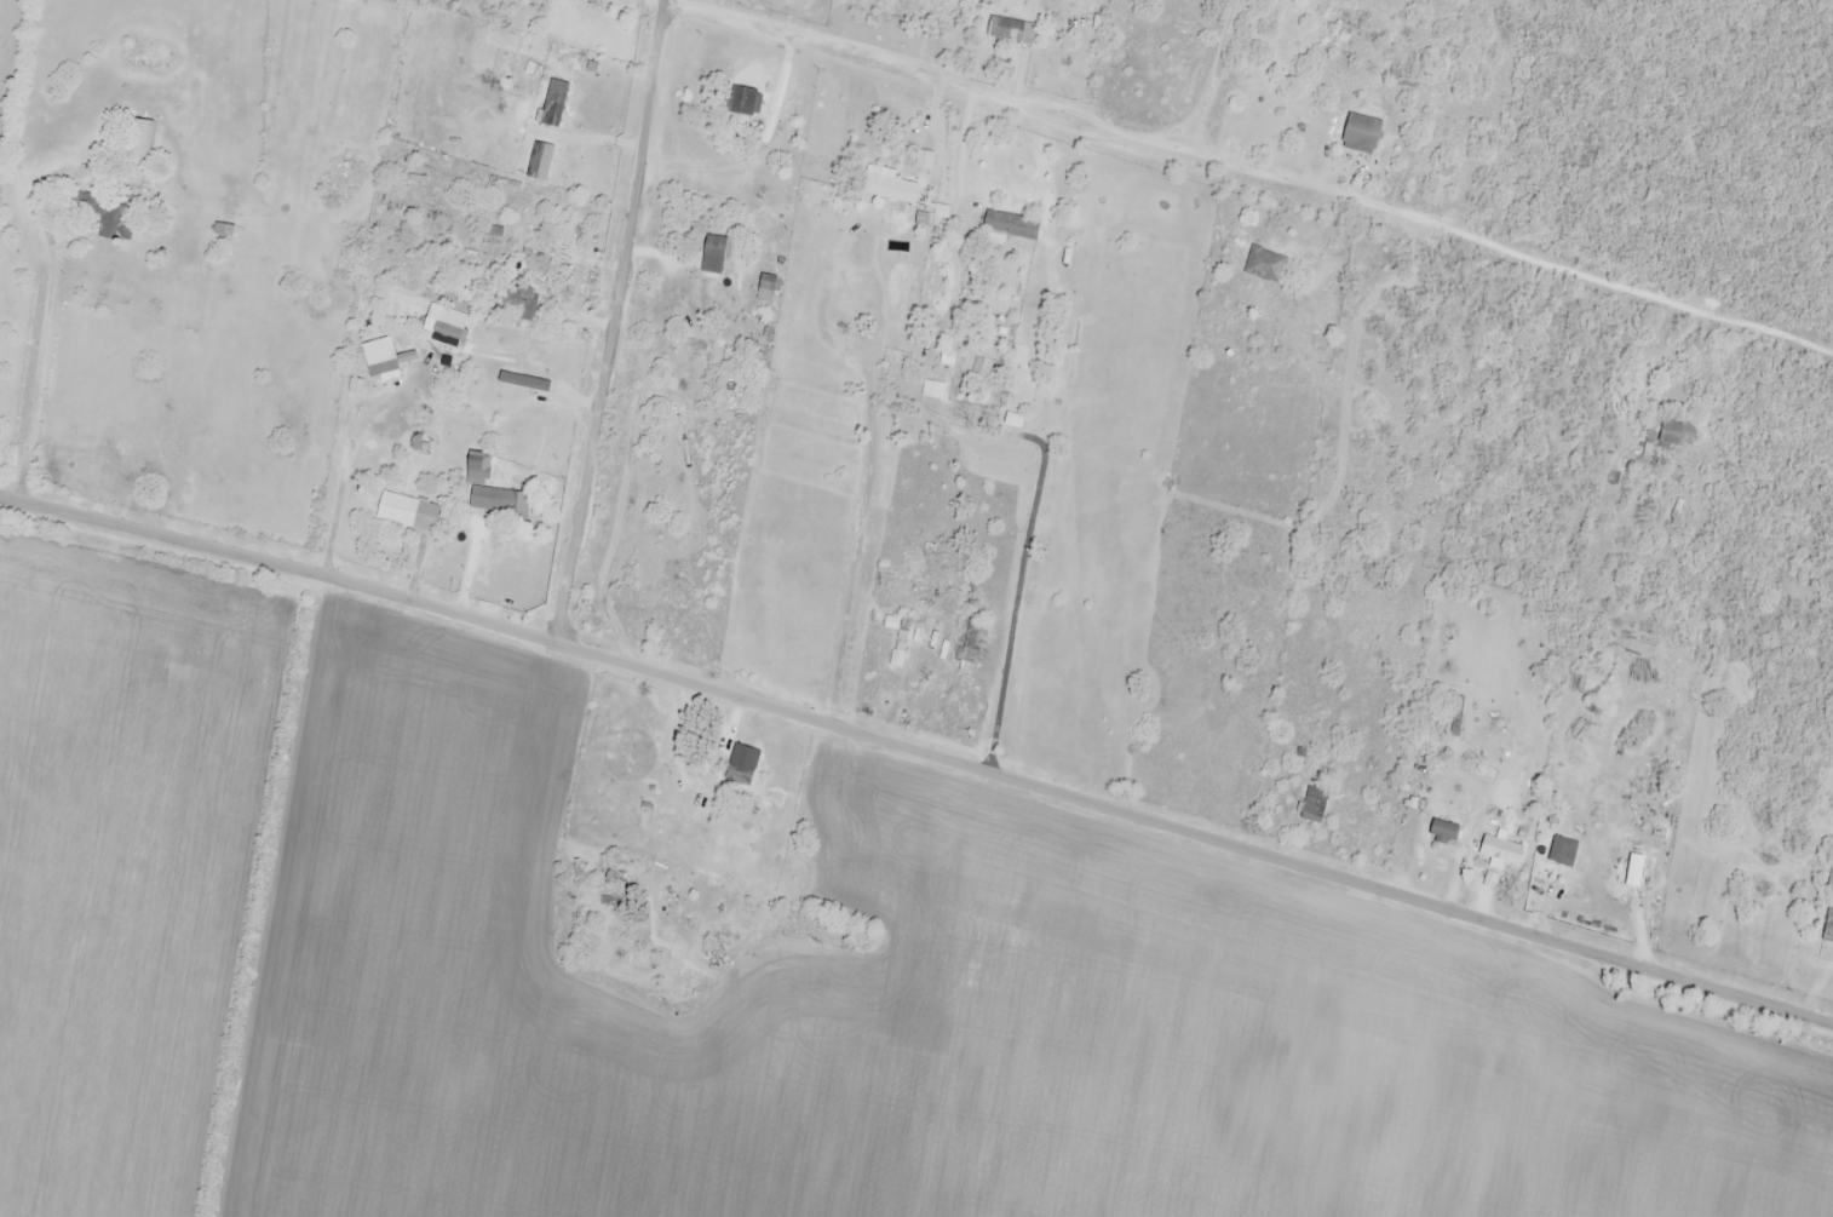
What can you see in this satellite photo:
building: (1012, 30)
building: (740, 102)
building: (1361, 134)
road: (1247, 171)
building: (891, 189)
building: (529, 218)
building: (1010, 226)
road: (594, 318)
building: (933, 391)
road: (986, 430)
building: (478, 469)
building: (410, 511)
building: (900, 639)
road: (916, 753)
building: (740, 775)
building: (1314, 809)

